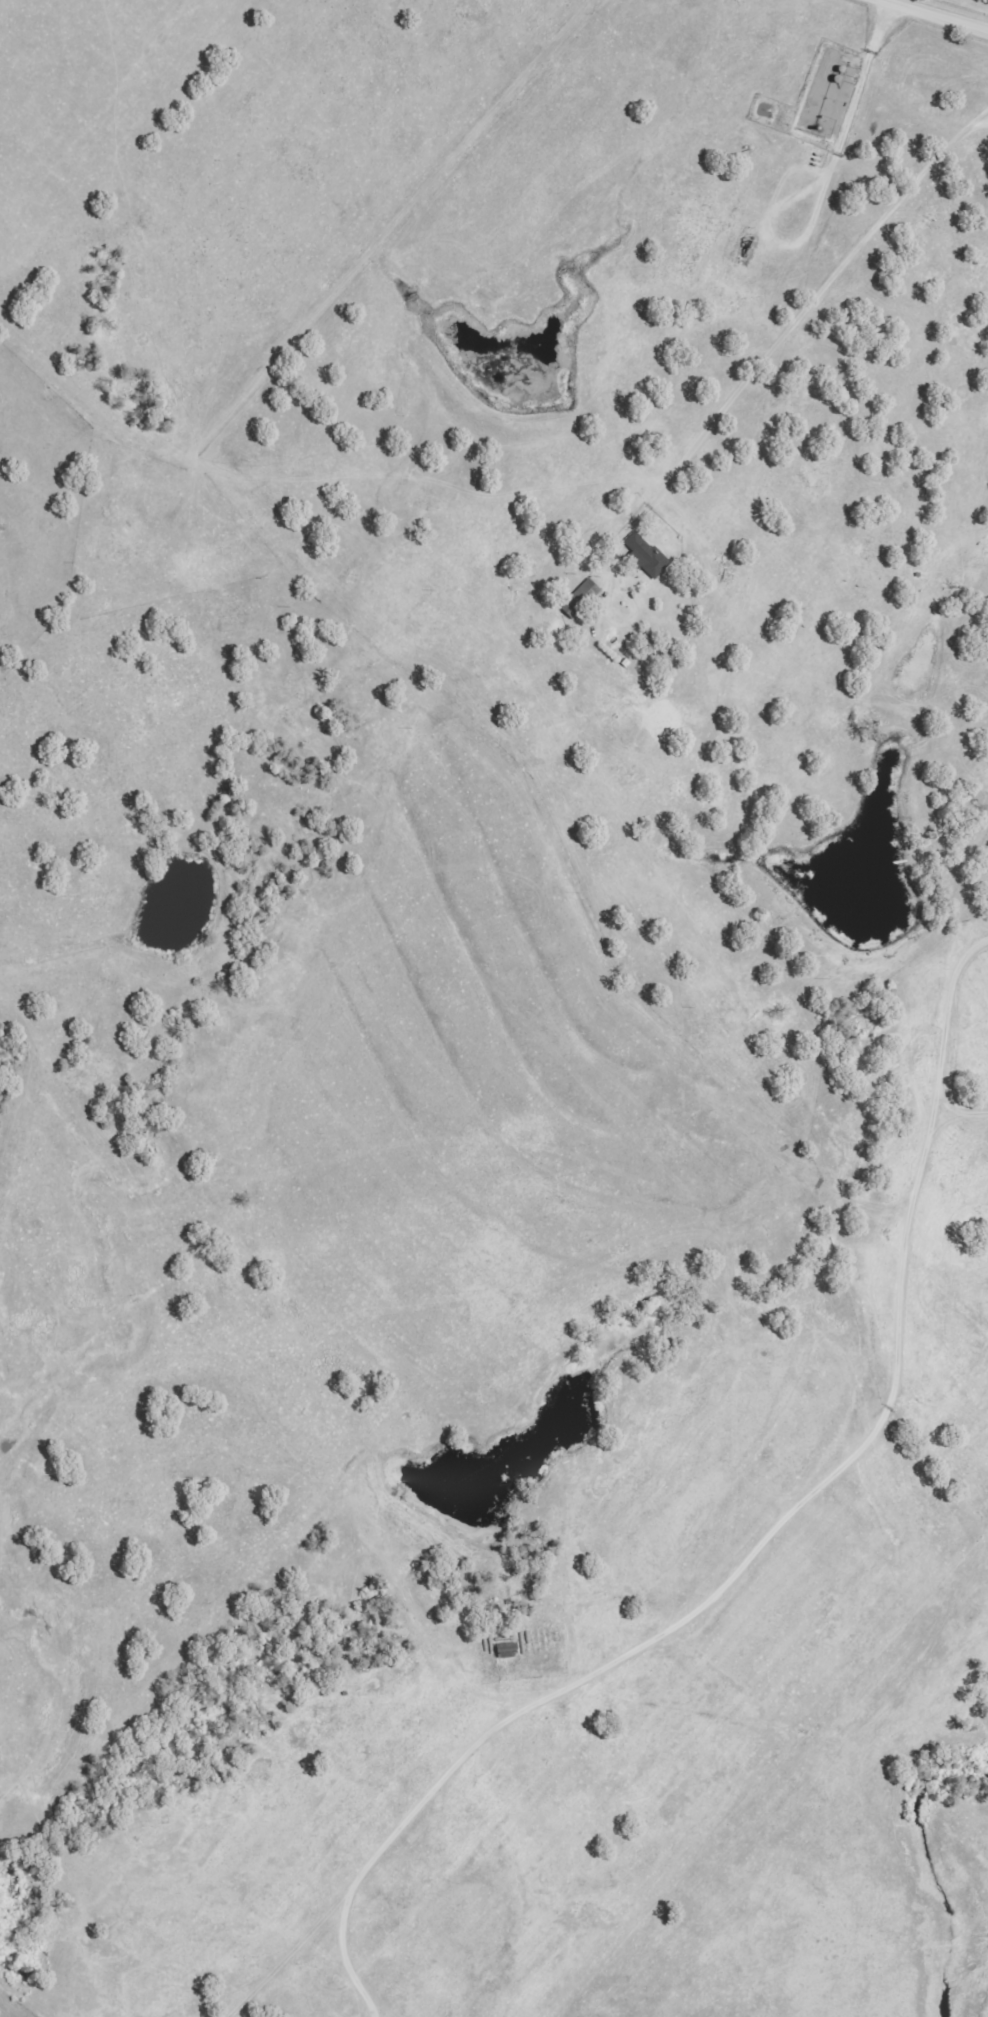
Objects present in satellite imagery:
road: (942, 12)
road: (778, 347)
building: (645, 556)
road: (743, 1555)
building: (505, 1651)

